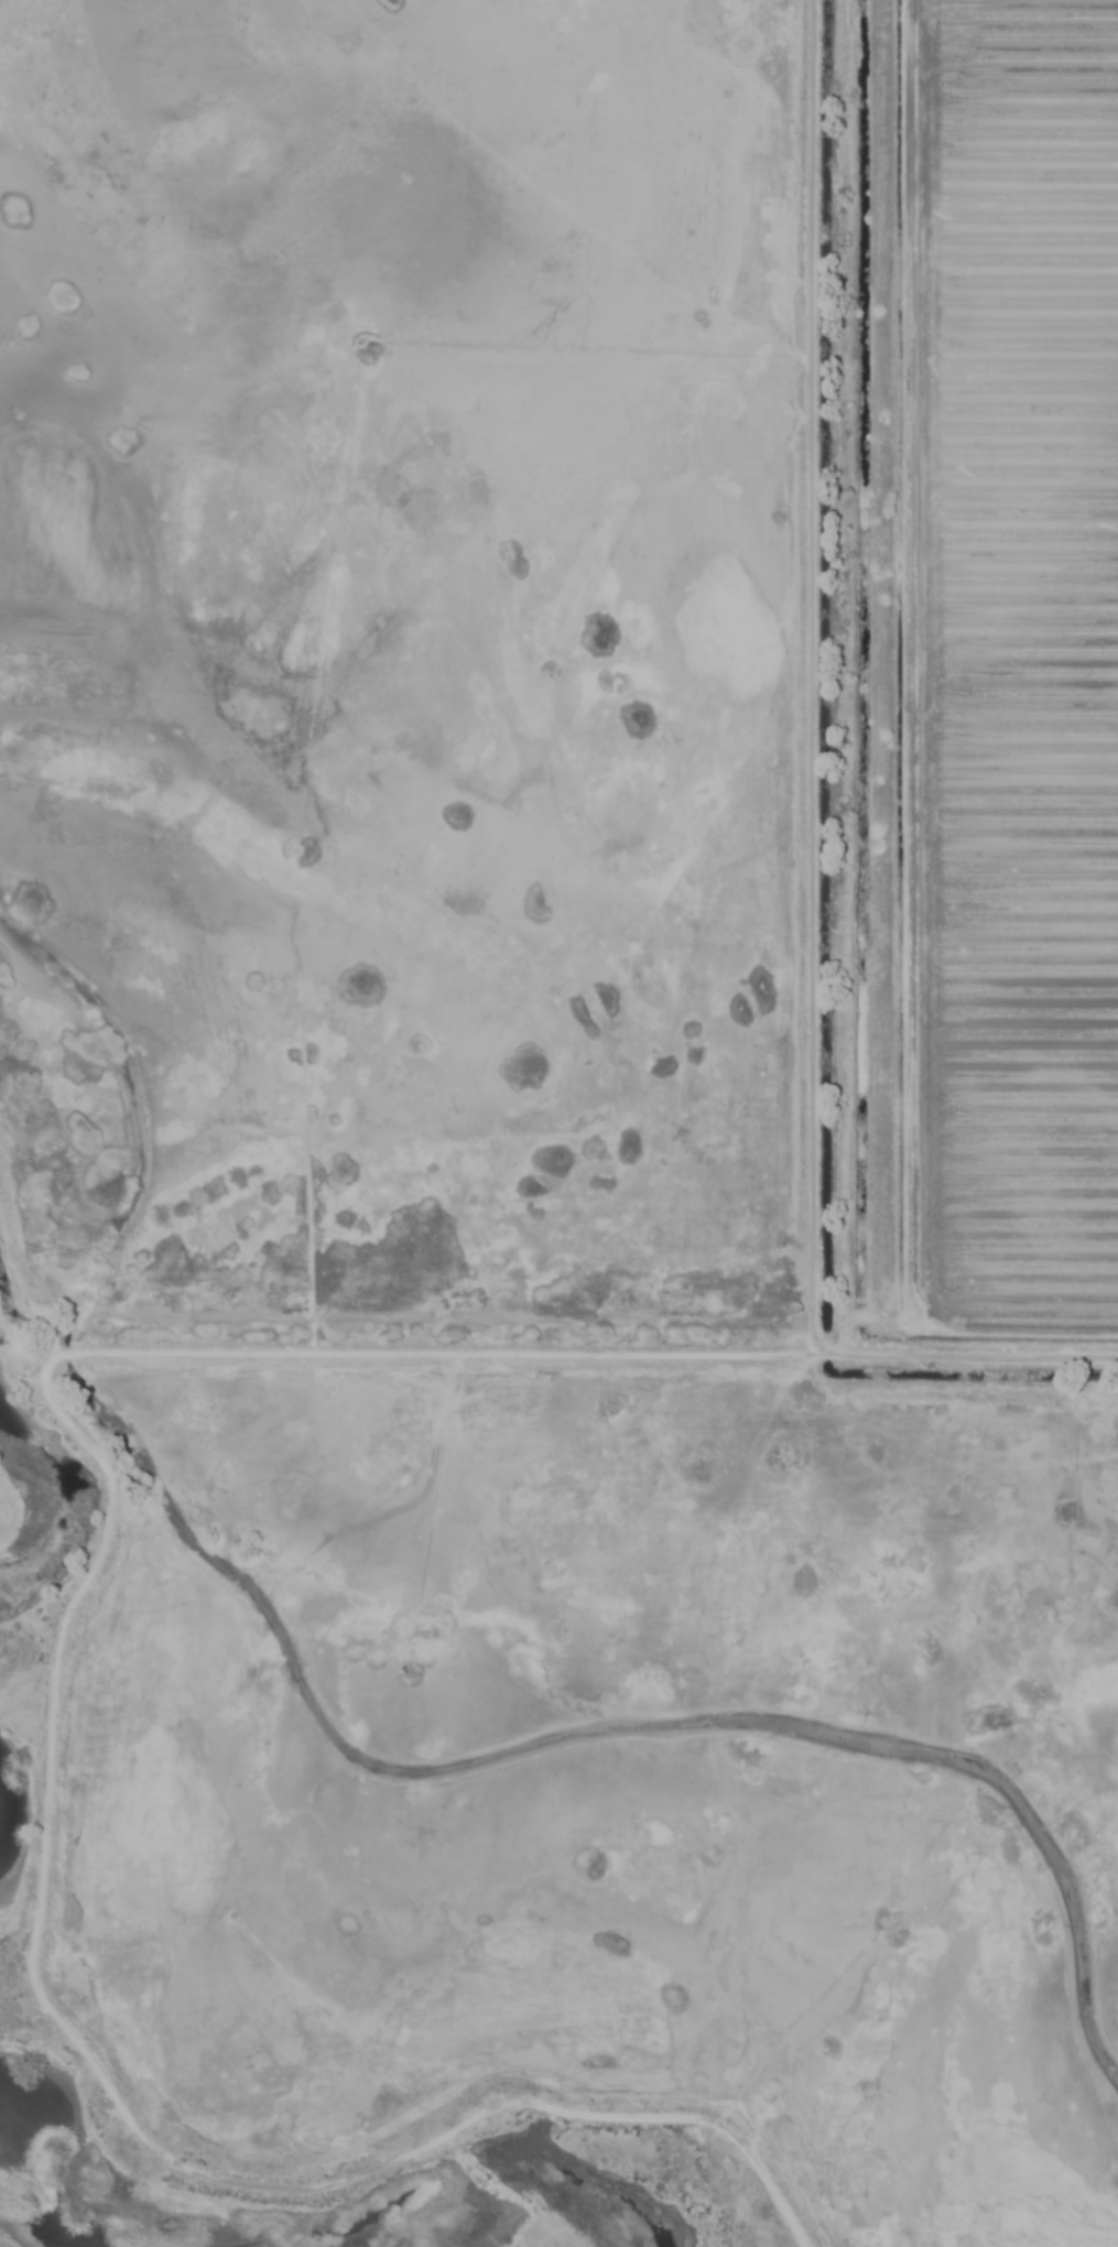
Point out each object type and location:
crop: (972, 659)

